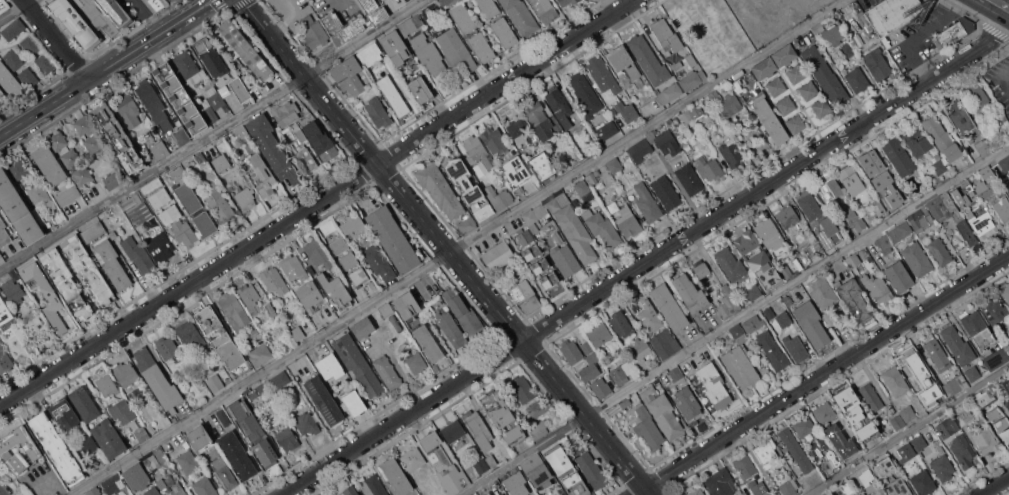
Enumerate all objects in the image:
building: (172, 0)
building: (301, 0)
building: (381, 0)
building: (566, 2)
building: (447, 3)
building: (156, 4)
road: (763, 4)
road: (1001, 4)
building: (367, 5)
building: (487, 8)
road: (15, 9)
building: (544, 9)
building: (115, 12)
building: (891, 14)
building: (378, 15)
building: (520, 16)
building: (98, 17)
building: (462, 17)
building: (331, 20)
building: (76, 23)
building: (864, 23)
building: (410, 24)
building: (436, 28)
building: (817, 28)
building: (13, 29)
building: (348, 31)
building: (314, 32)
building: (504, 33)
building: (666, 34)
building: (951, 34)
building: (831, 35)
road: (912, 37)
road: (55, 39)
building: (30, 45)
building: (395, 46)
building: (481, 47)
building: (456, 49)
building: (326, 50)
building: (846, 50)
building: (245, 51)
building: (428, 53)
building: (786, 53)
building: (369, 54)
building: (210, 57)
building: (13, 59)
building: (648, 60)
building: (691, 60)
building: (622, 61)
building: (45, 63)
building: (876, 63)
building: (417, 65)
road: (104, 68)
building: (189, 68)
building: (764, 68)
building: (796, 74)
building: (348, 75)
building: (602, 75)
building: (824, 75)
road: (1000, 76)
building: (28, 77)
building: (858, 77)
building: (10, 80)
building: (690, 80)
building: (776, 86)
building: (240, 89)
building: (419, 90)
building: (808, 90)
building: (670, 93)
building: (585, 94)
building: (393, 96)
building: (179, 97)
building: (214, 97)
building: (977, 97)
building: (712, 98)
building: (3, 99)
building: (730, 104)
building: (154, 105)
building: (560, 105)
building: (785, 105)
building: (821, 107)
building: (128, 109)
building: (208, 109)
building: (378, 112)
building: (697, 112)
building: (286, 113)
building: (621, 113)
building: (686, 116)
building: (767, 116)
building: (959, 116)
building: (1000, 116)
building: (541, 120)
building: (676, 120)
building: (670, 122)
building: (795, 124)
building: (83, 125)
building: (517, 130)
building: (607, 130)
building: (241, 132)
building: (300, 134)
road: (209, 135)
building: (181, 136)
building: (738, 136)
building: (941, 137)
building: (117, 138)
building: (494, 140)
building: (916, 140)
building: (58, 141)
building: (321, 141)
building: (664, 142)
building: (93, 143)
building: (687, 146)
building: (981, 146)
building: (745, 147)
building: (272, 148)
building: (159, 150)
building: (640, 150)
building: (732, 153)
building: (477, 155)
building: (517, 155)
building: (898, 156)
building: (70, 158)
building: (201, 159)
building: (306, 159)
building: (221, 163)
building: (1004, 163)
building: (938, 164)
building: (49, 165)
building: (614, 165)
building: (541, 166)
building: (873, 167)
building: (17, 168)
building: (709, 168)
building: (986, 172)
building: (178, 173)
building: (82, 175)
building: (261, 175)
building: (593, 175)
building: (114, 179)
building: (689, 179)
building: (849, 179)
building: (517, 181)
building: (21, 185)
building: (1007, 185)
building: (151, 186)
building: (439, 189)
building: (468, 189)
building: (583, 189)
building: (830, 189)
building: (983, 189)
building: (666, 192)
building: (37, 193)
building: (963, 193)
building: (67, 195)
building: (242, 196)
building: (187, 197)
building: (499, 197)
building: (159, 198)
building: (217, 202)
road: (314, 202)
building: (647, 202)
building: (886, 203)
building: (50, 205)
building: (810, 206)
building: (878, 207)
building: (0, 208)
building: (137, 208)
building: (1002, 209)
building: (19, 210)
building: (946, 210)
building: (169, 215)
building: (534, 216)
building: (787, 216)
building: (855, 219)
building: (921, 219)
building: (628, 222)
building: (203, 224)
building: (353, 225)
building: (466, 225)
building: (983, 225)
building: (572, 227)
building: (603, 229)
building: (807, 231)
building: (93, 232)
building: (828, 232)
building: (899, 232)
building: (3, 233)
building: (184, 233)
building: (769, 233)
building: (113, 234)
building: (557, 237)
building: (525, 238)
building: (394, 239)
building: (972, 240)
building: (884, 244)
building: (339, 245)
building: (816, 245)
building: (160, 247)
road: (446, 247)
road: (458, 248)
building: (751, 249)
building: (939, 251)
building: (531, 252)
building: (138, 254)
building: (808, 254)
building: (318, 255)
building: (496, 255)
building: (917, 259)
building: (348, 260)
building: (565, 260)
building: (853, 260)
building: (378, 262)
building: (112, 264)
road: (645, 264)
building: (731, 264)
building: (797, 264)
building: (540, 265)
building: (293, 267)
building: (88, 269)
building: (702, 269)
building: (786, 271)
building: (358, 276)
building: (899, 276)
building: (548, 279)
building: (274, 280)
building: (766, 282)
building: (66, 283)
building: (12, 287)
building: (877, 288)
building: (335, 290)
building: (754, 292)
building: (690, 293)
building: (1005, 293)
building: (309, 295)
building: (45, 296)
building: (251, 296)
building: (525, 296)
building: (823, 297)
building: (853, 298)
building: (787, 300)
building: (728, 303)
building: (1, 304)
building: (406, 306)
building: (669, 307)
building: (271, 309)
building: (385, 309)
building: (234, 312)
building: (463, 312)
building: (769, 312)
building: (995, 312)
building: (649, 315)
road: (734, 319)
building: (784, 319)
building: (259, 321)
building: (753, 323)
building: (620, 324)
building: (811, 324)
building: (362, 328)
building: (450, 328)
building: (977, 329)
building: (255, 333)
building: (297, 333)
building: (190, 334)
building: (739, 334)
building: (599, 335)
building: (64, 340)
building: (222, 341)
building: (428, 343)
building: (665, 344)
building: (957, 344)
building: (166, 347)
building: (401, 347)
building: (586, 347)
building: (796, 348)
building: (773, 350)
building: (571, 351)
building: (640, 353)
building: (260, 355)
building: (938, 355)
building: (996, 358)
building: (4, 361)
building: (416, 363)
building: (358, 364)
building: (330, 366)
building: (741, 366)
building: (590, 367)
road: (399, 370)
building: (765, 371)
building: (387, 372)
building: (622, 372)
building: (125, 373)
building: (972, 373)
building: (676, 374)
road: (823, 376)
building: (157, 380)
building: (278, 381)
building: (895, 381)
road: (873, 382)
building: (214, 383)
building: (1005, 384)
building: (107, 385)
building: (714, 385)
building: (955, 385)
building: (600, 388)
building: (523, 389)
building: (263, 390)
building: (927, 392)
building: (985, 396)
building: (131, 397)
building: (870, 397)
building: (324, 400)
building: (353, 403)
building: (625, 403)
building: (84, 404)
building: (1007, 404)
building: (242, 405)
building: (688, 405)
building: (497, 409)
building: (536, 409)
building: (121, 411)
building: (662, 412)
building: (64, 413)
building: (856, 413)
building: (908, 414)
building: (224, 418)
building: (965, 418)
building: (880, 422)
building: (897, 422)
building: (981, 422)
building: (306, 423)
building: (999, 423)
building: (480, 427)
building: (803, 427)
building: (946, 427)
building: (648, 428)
building: (538, 430)
building: (834, 430)
building: (453, 431)
road: (908, 431)
building: (140, 432)
building: (513, 435)
building: (108, 437)
building: (199, 439)
building: (286, 439)
building: (430, 440)
building: (985, 440)
building: (919, 443)
building: (55, 445)
building: (86, 445)
building: (796, 450)
building: (33, 452)
building: (816, 452)
building: (904, 452)
building: (964, 453)
building: (237, 454)
building: (265, 454)
building: (768, 454)
building: (156, 459)
building: (412, 459)
building: (491, 459)
building: (557, 459)
building: (188, 461)
building: (481, 465)
building: (826, 465)
building: (745, 466)
building: (883, 466)
building: (942, 467)
building: (592, 470)
building: (537, 472)
building: (224, 474)
building: (396, 476)
building: (137, 477)
building: (866, 477)
building: (453, 479)
building: (771, 481)
building: (574, 482)
building: (721, 483)
building: (923, 483)
building: (516, 484)
building: (115, 485)
building: (162, 486)
building: (372, 486)
road: (996, 486)
building: (205, 487)
building: (789, 487)
building: (898, 487)
building: (758, 488)
building: (847, 488)
building: (177, 489)
building: (152, 491)
building: (350, 491)
road: (2, 492)
building: (94, 492)
building: (127, 492)
building: (695, 492)
building: (219, 494)
building: (501, 494)

